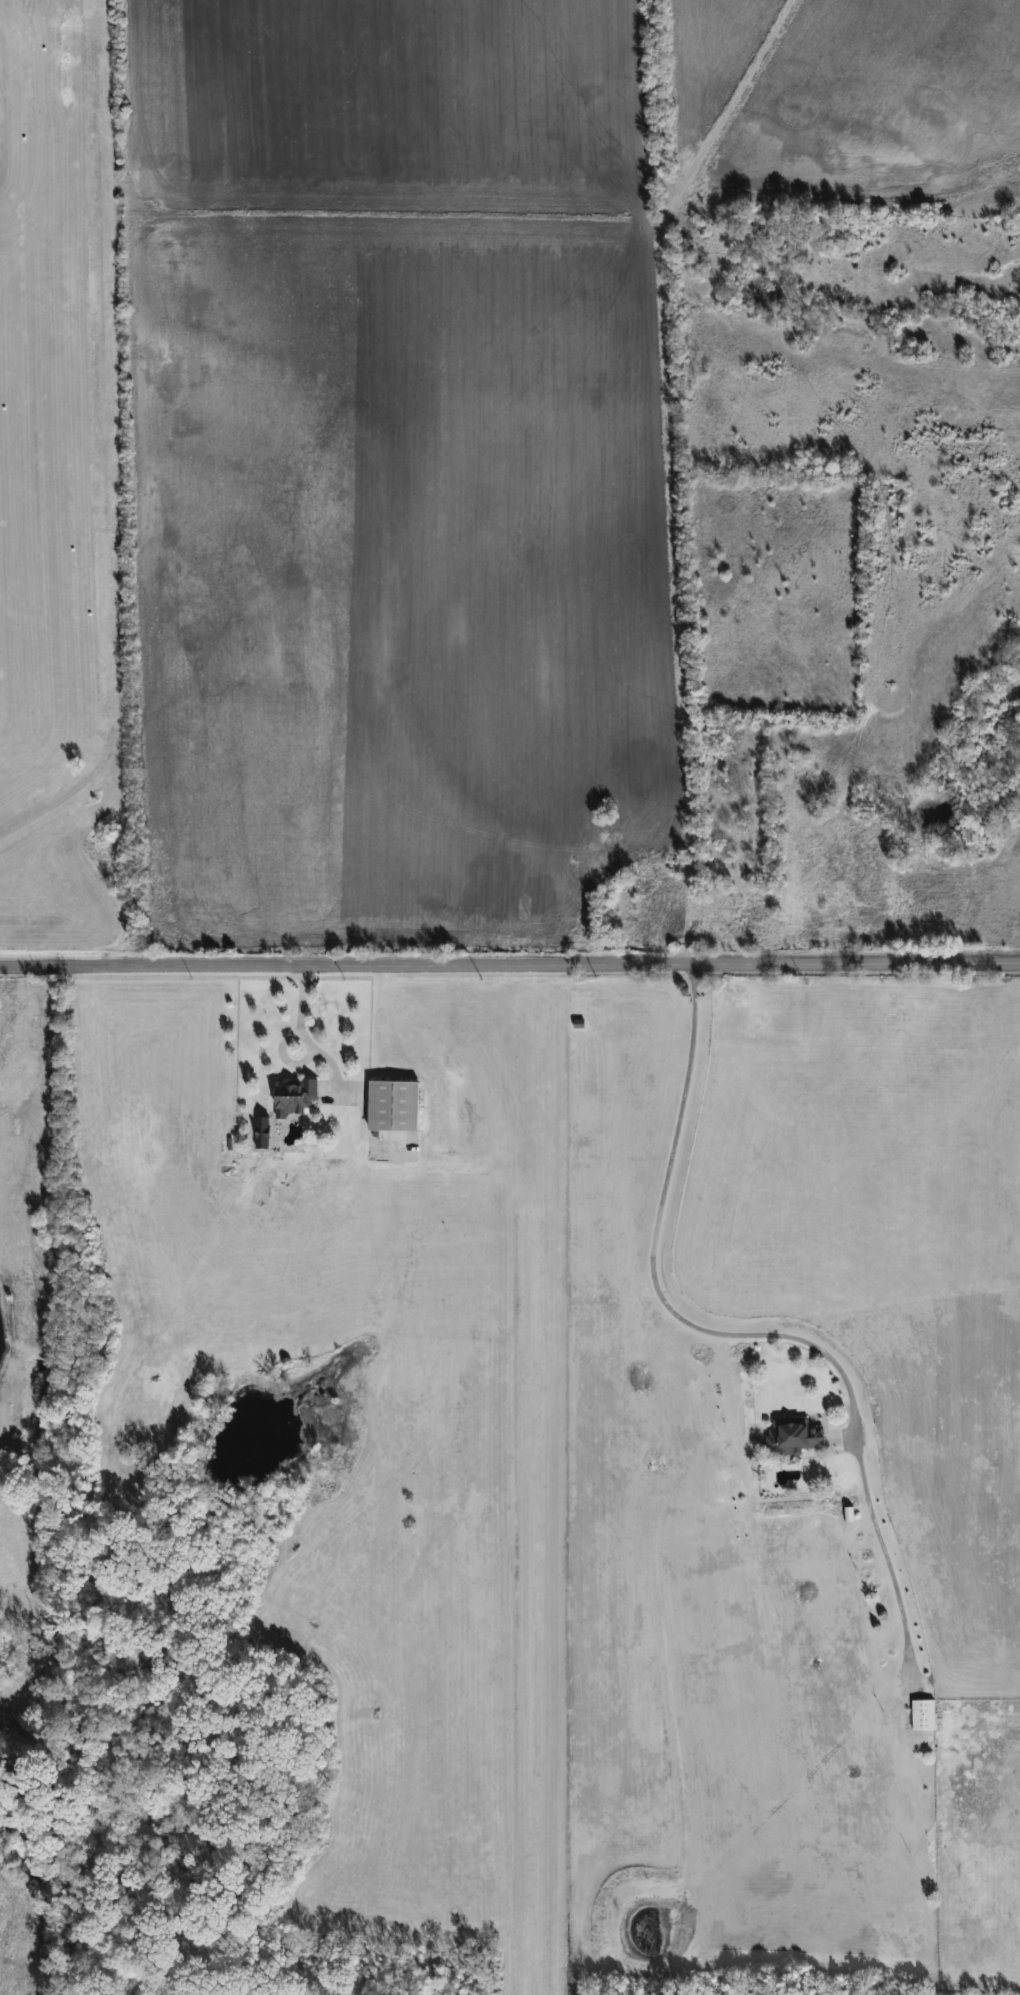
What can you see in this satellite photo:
road: (743, 88)
road: (673, 565)
road: (510, 964)
road: (297, 1009)
building: (292, 1096)
building: (391, 1105)
road: (652, 1266)
building: (792, 1435)
building: (921, 1715)

